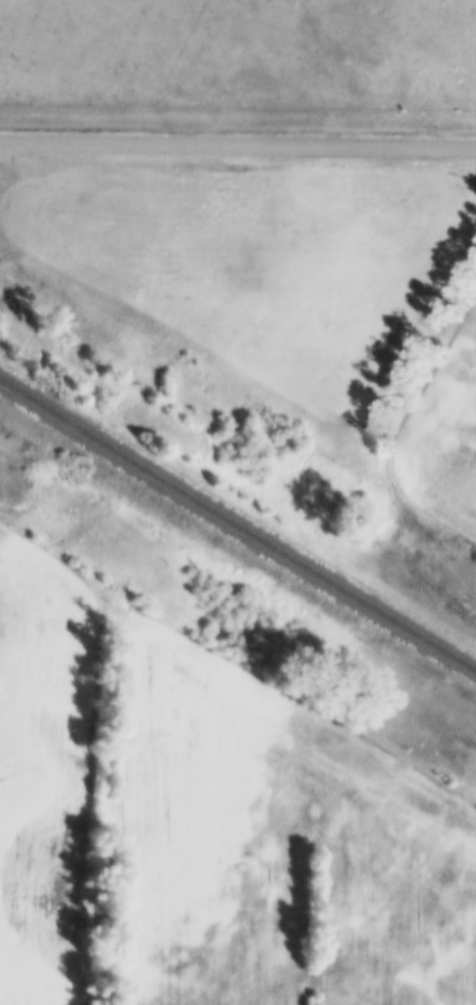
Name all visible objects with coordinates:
road: (237, 143)
railway: (238, 535)

